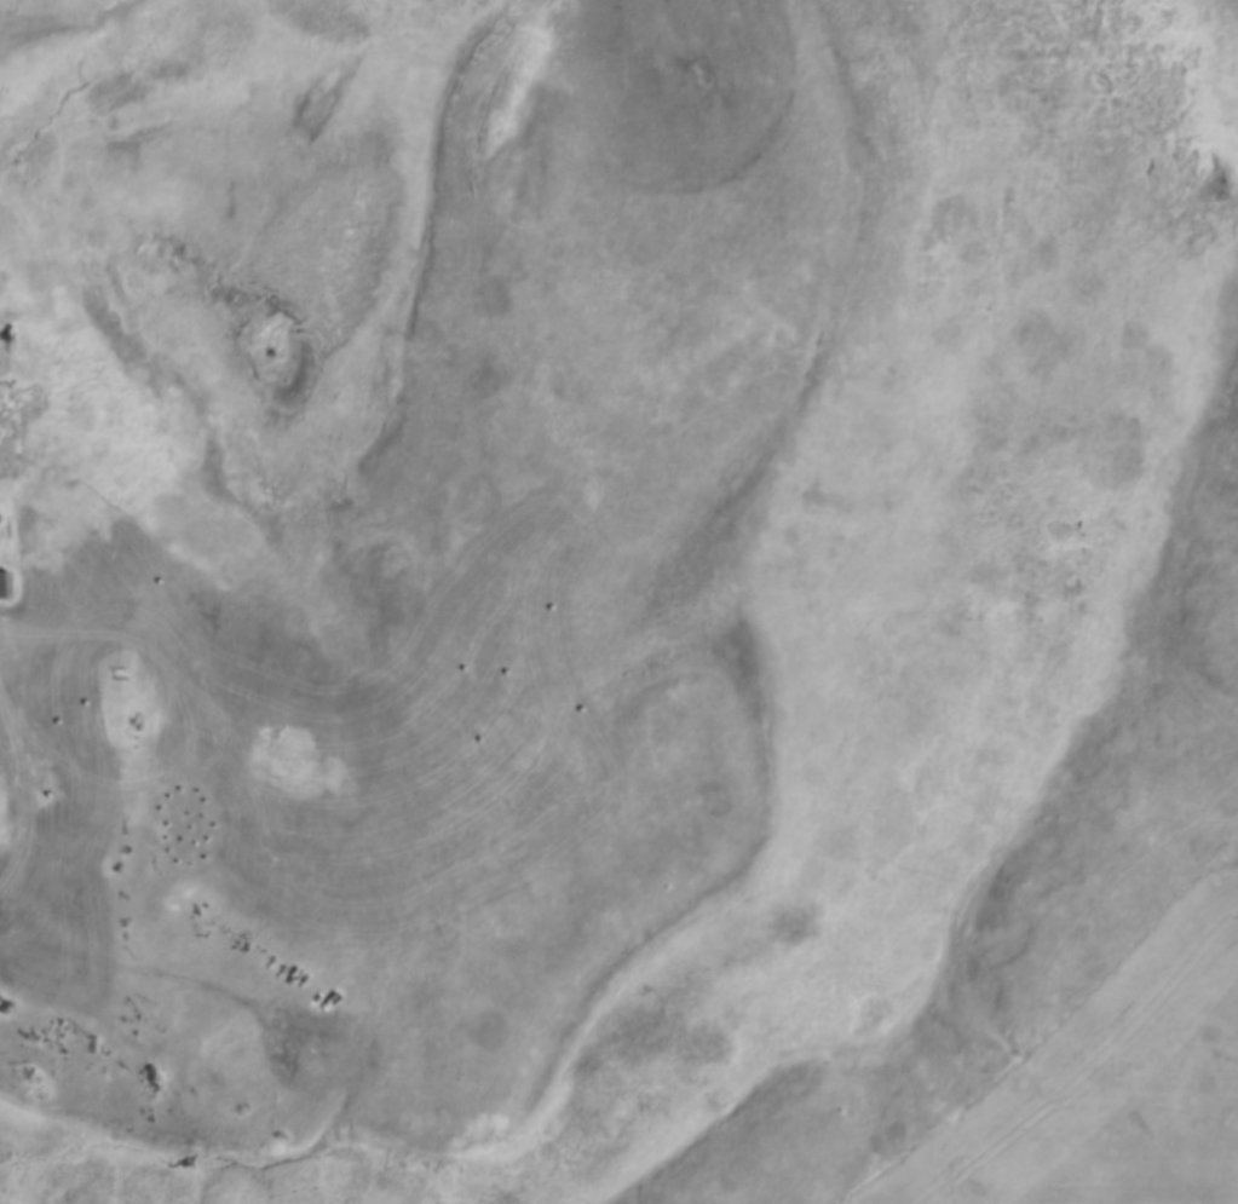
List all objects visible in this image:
building: (6, 405)
building: (5, 584)
building: (4, 1007)

